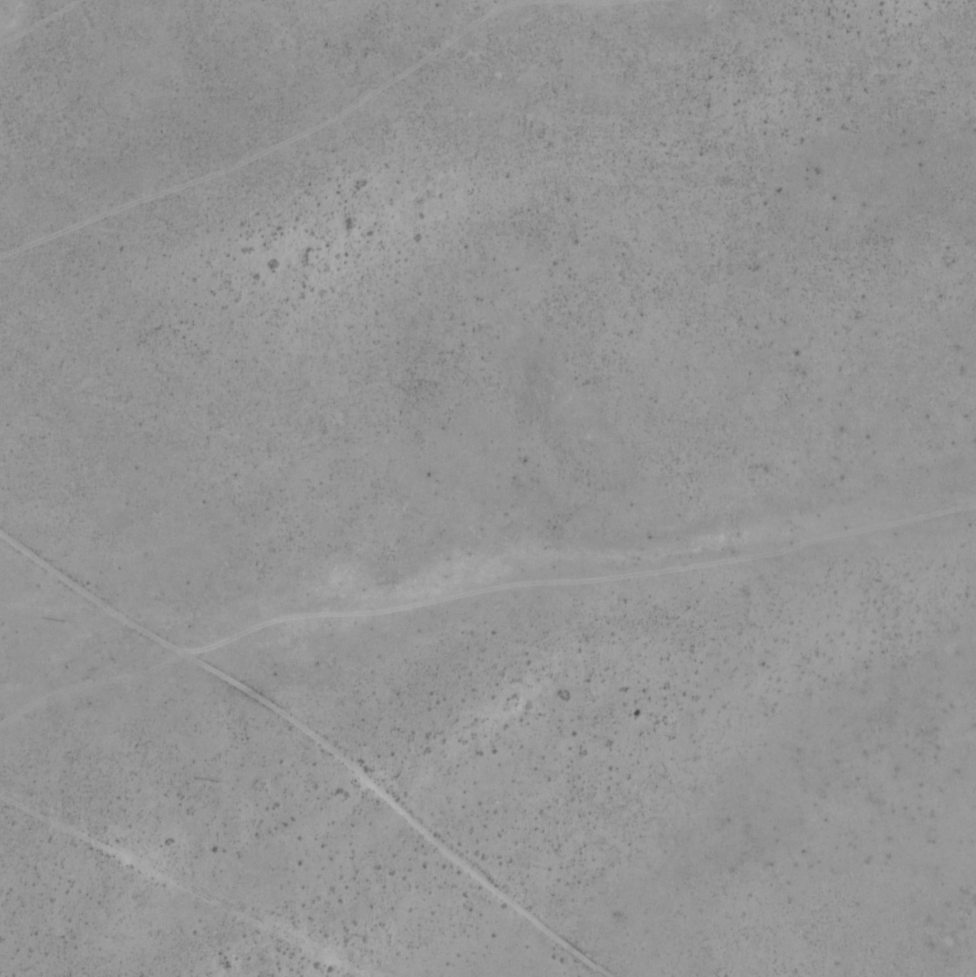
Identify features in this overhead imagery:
road: (296, 763)

